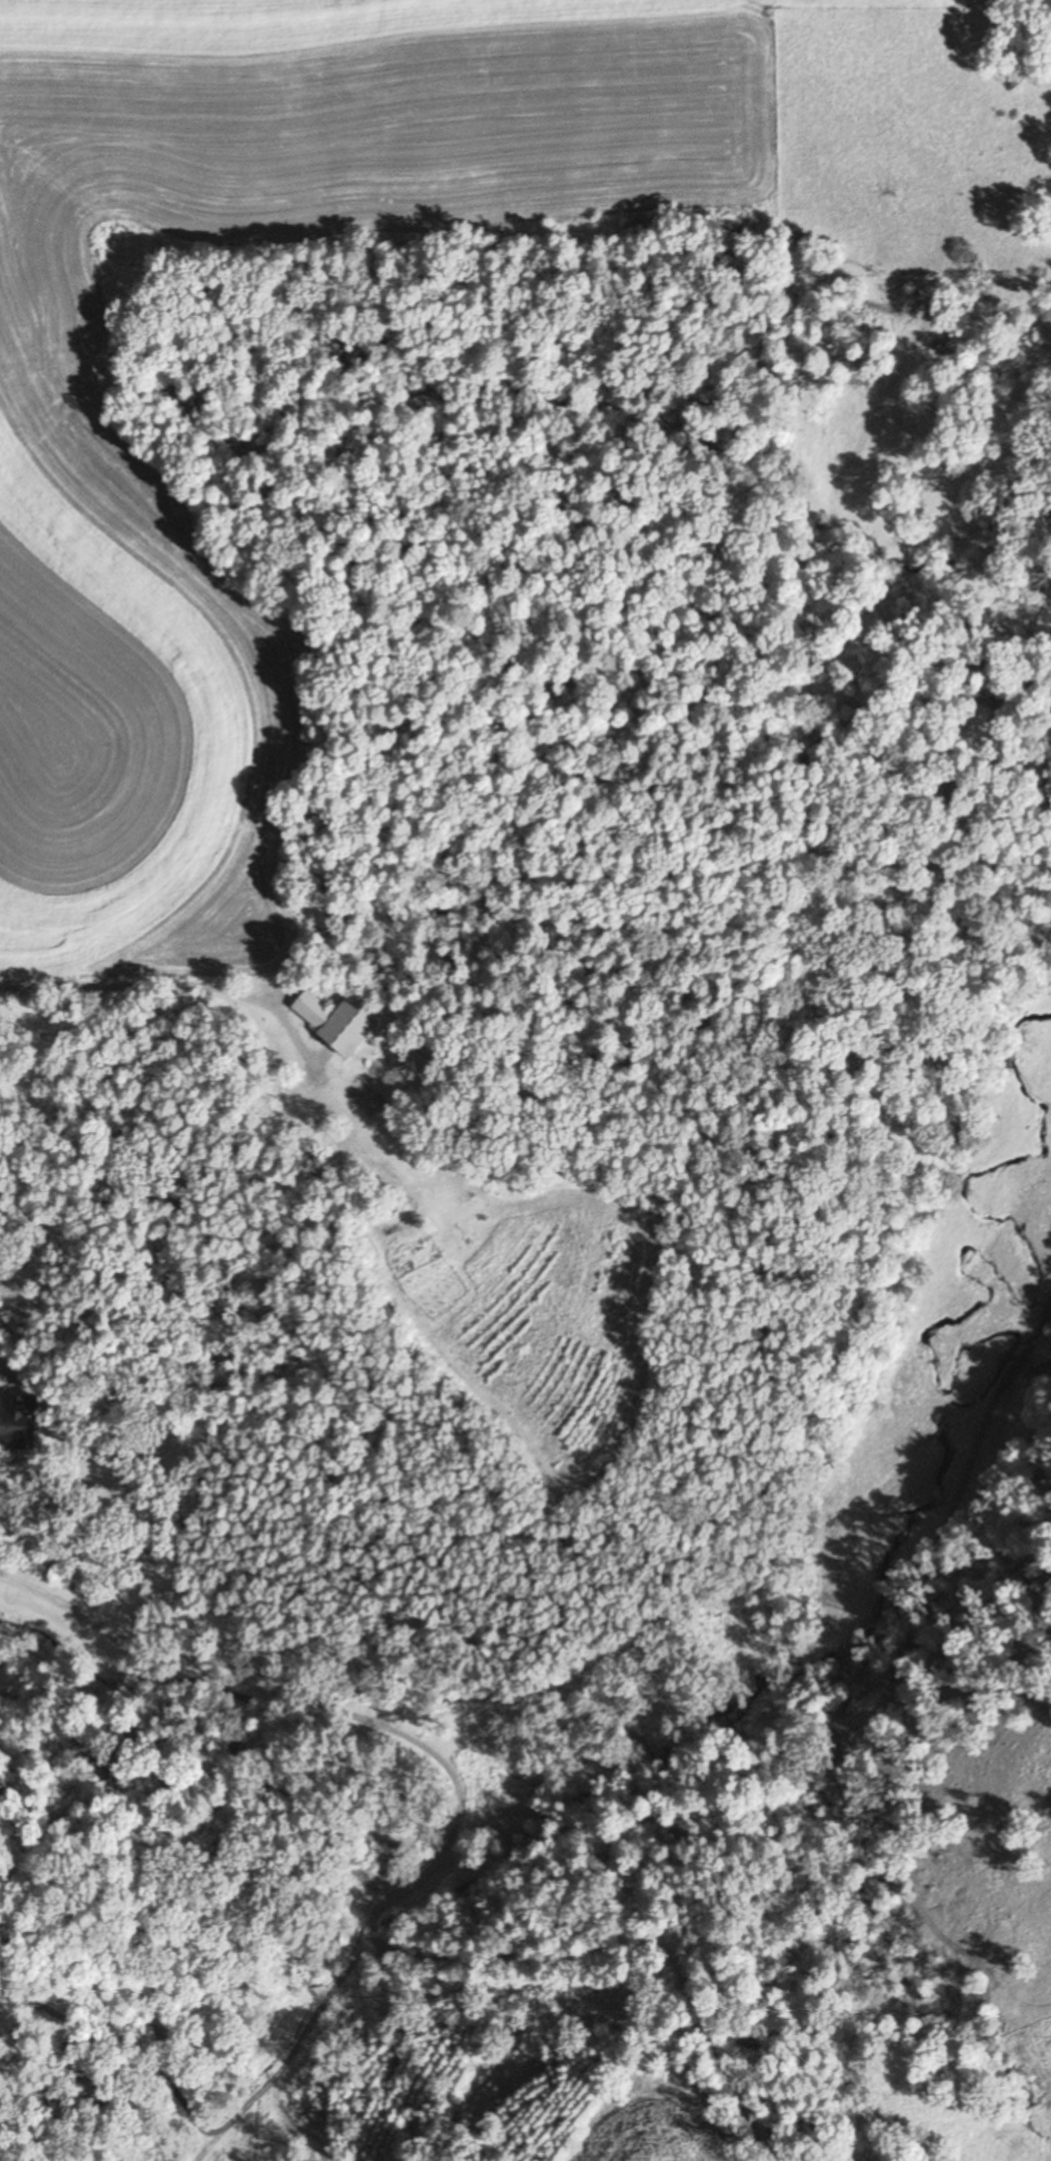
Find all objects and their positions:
road: (132, 983)
building: (339, 1021)
building: (18, 1421)
road: (423, 1879)

